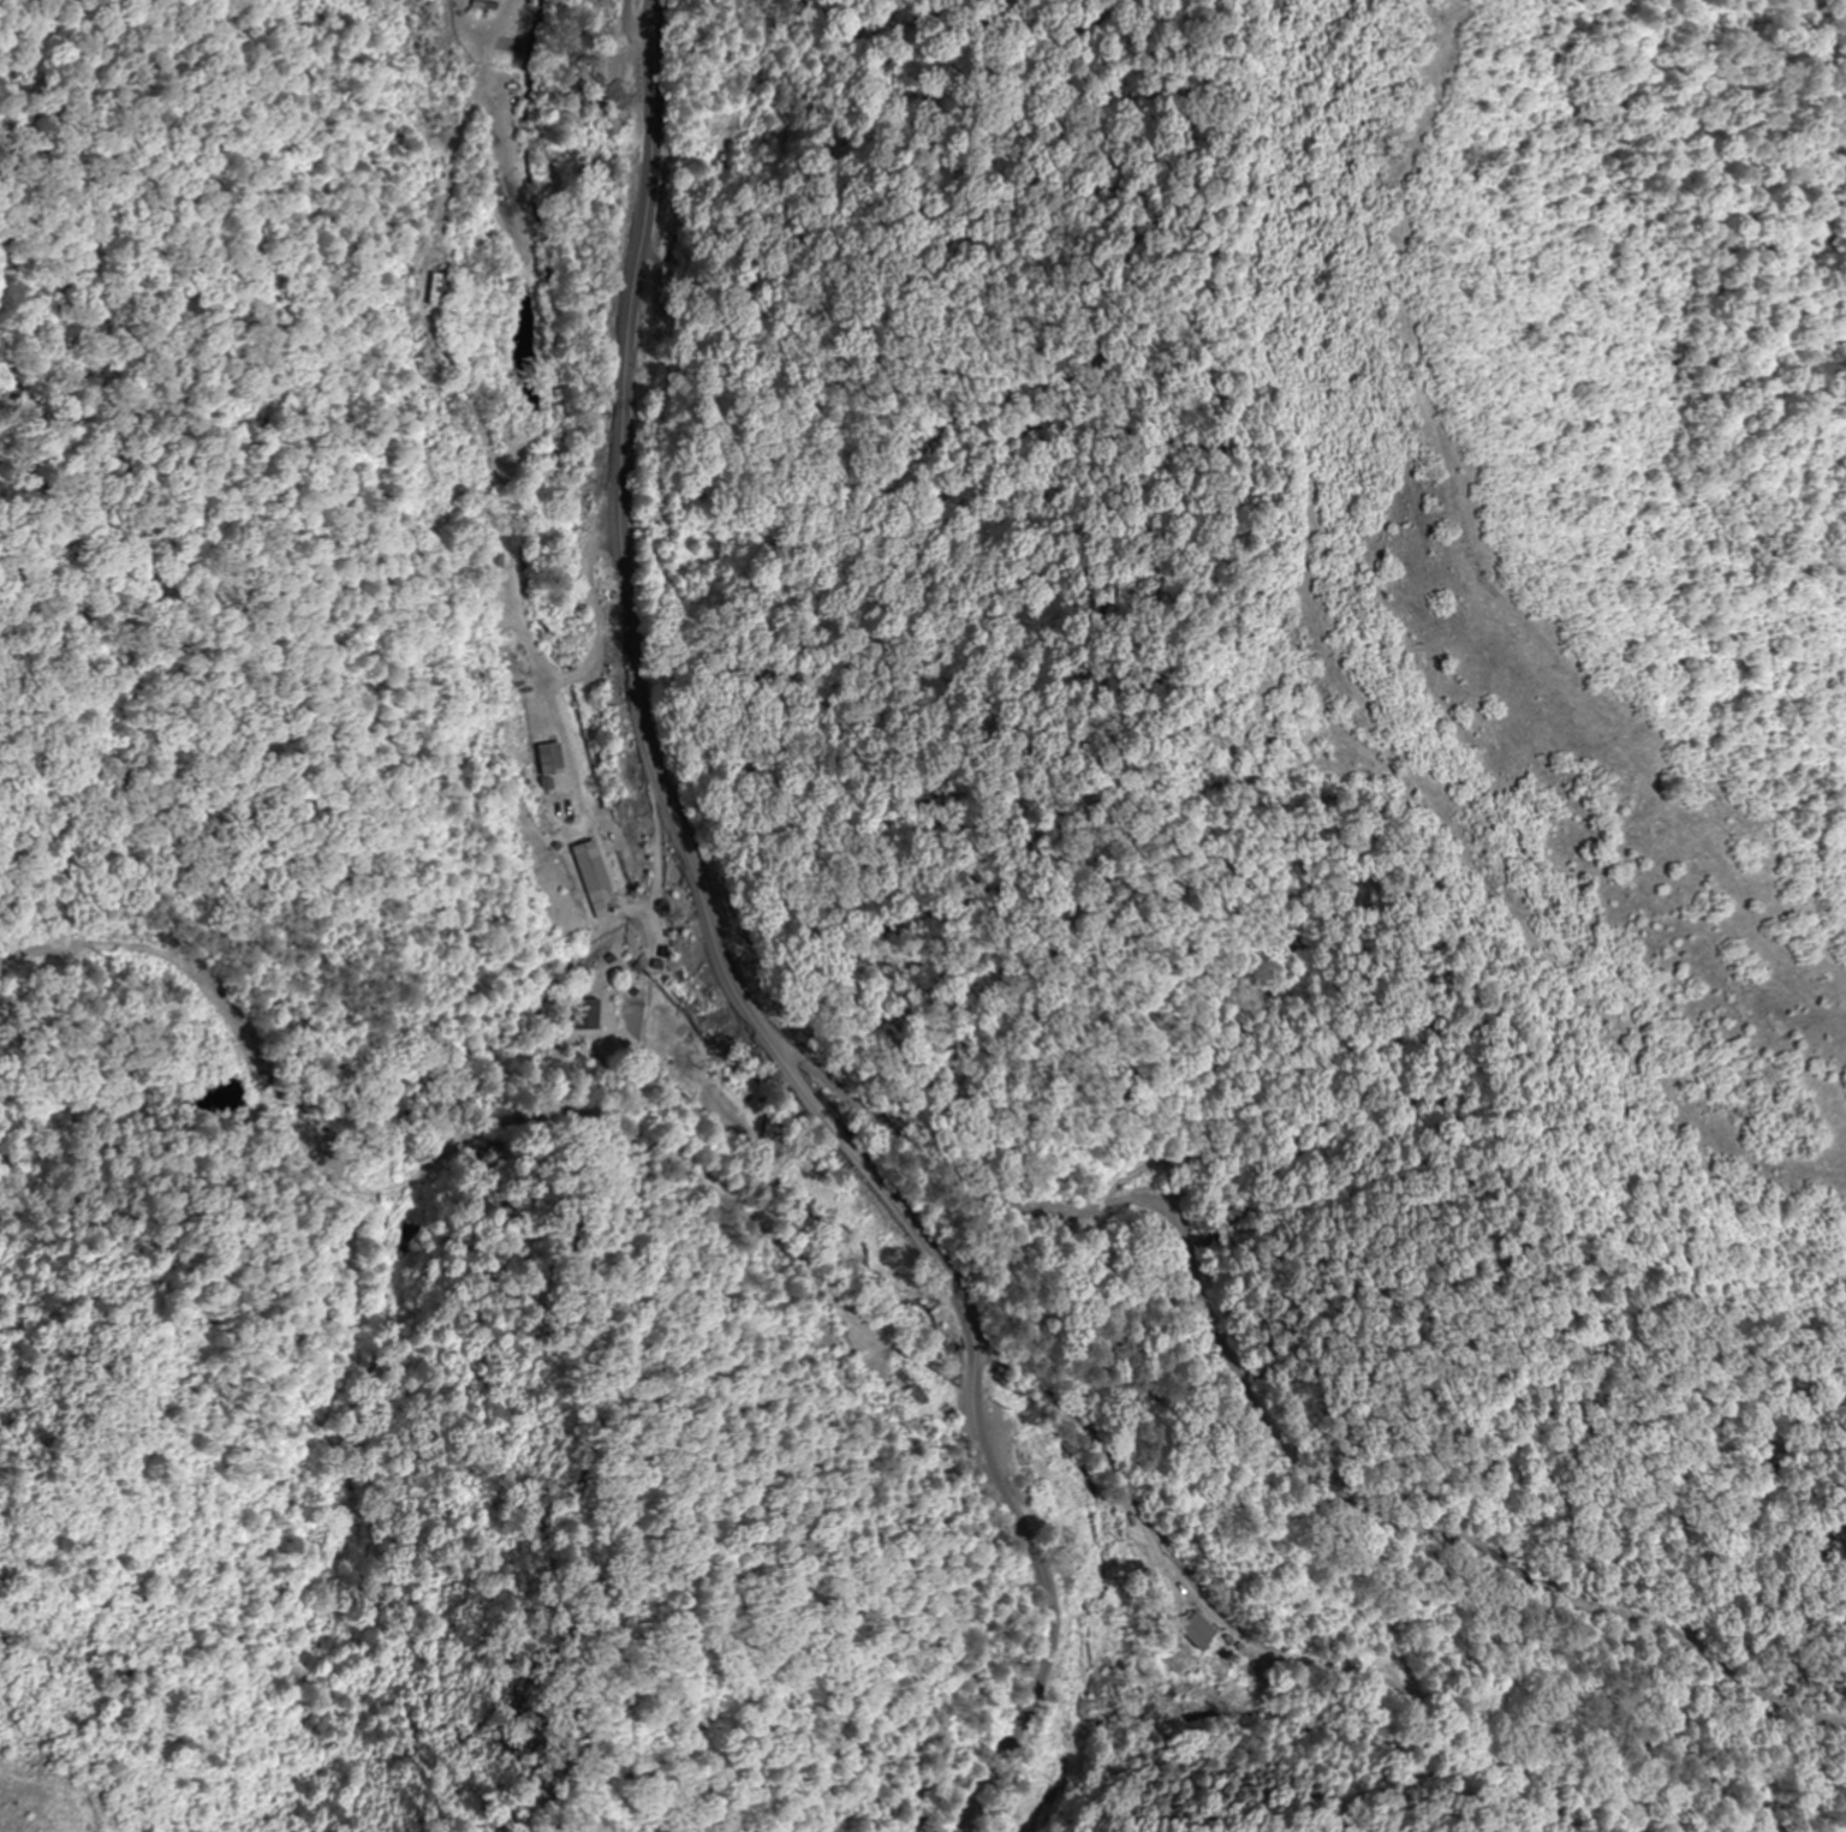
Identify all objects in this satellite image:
building: (430, 290)
building: (550, 762)
building: (565, 808)
road: (659, 848)
building: (590, 867)
road: (1005, 907)
road: (727, 961)
building: (588, 1014)
road: (979, 1257)
road: (1166, 1319)
building: (913, 1386)
building: (1025, 1467)
building: (1195, 1628)

